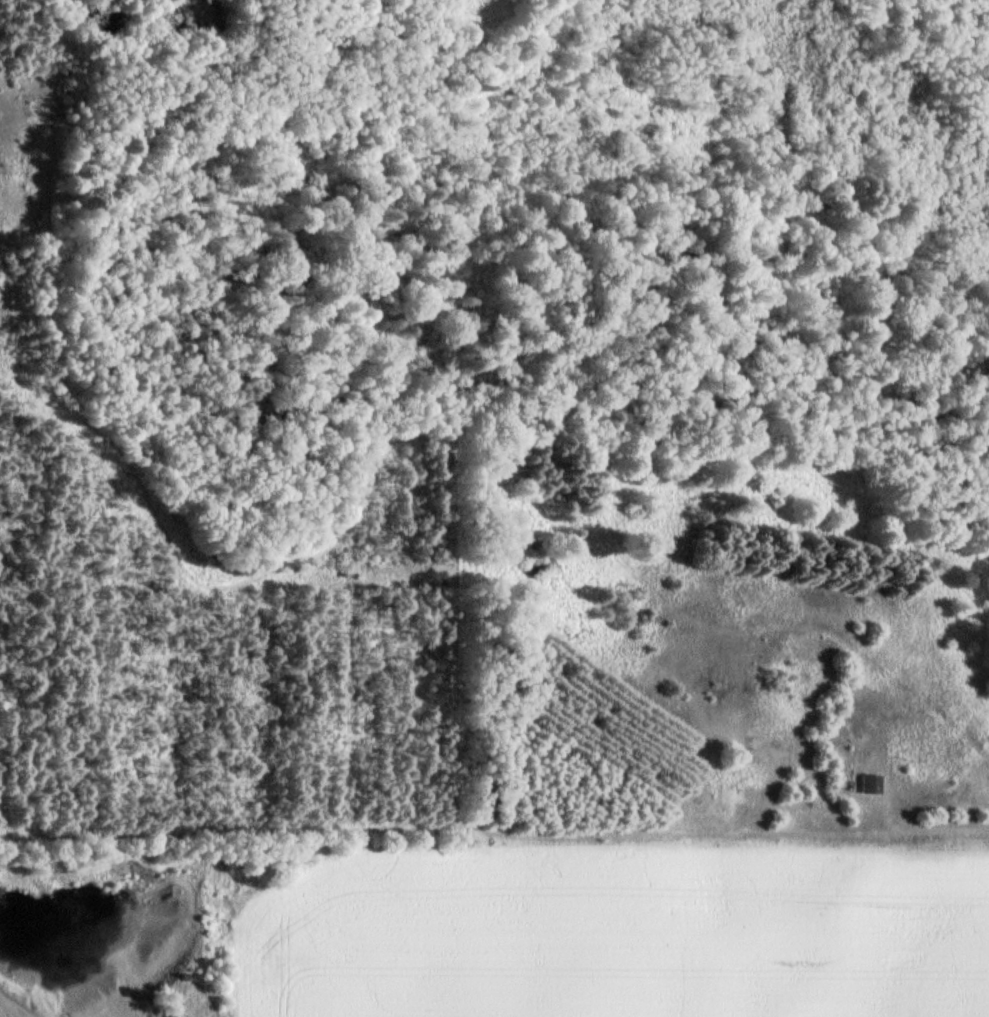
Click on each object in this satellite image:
building: (873, 784)
road: (947, 824)
quarry: (111, 936)

